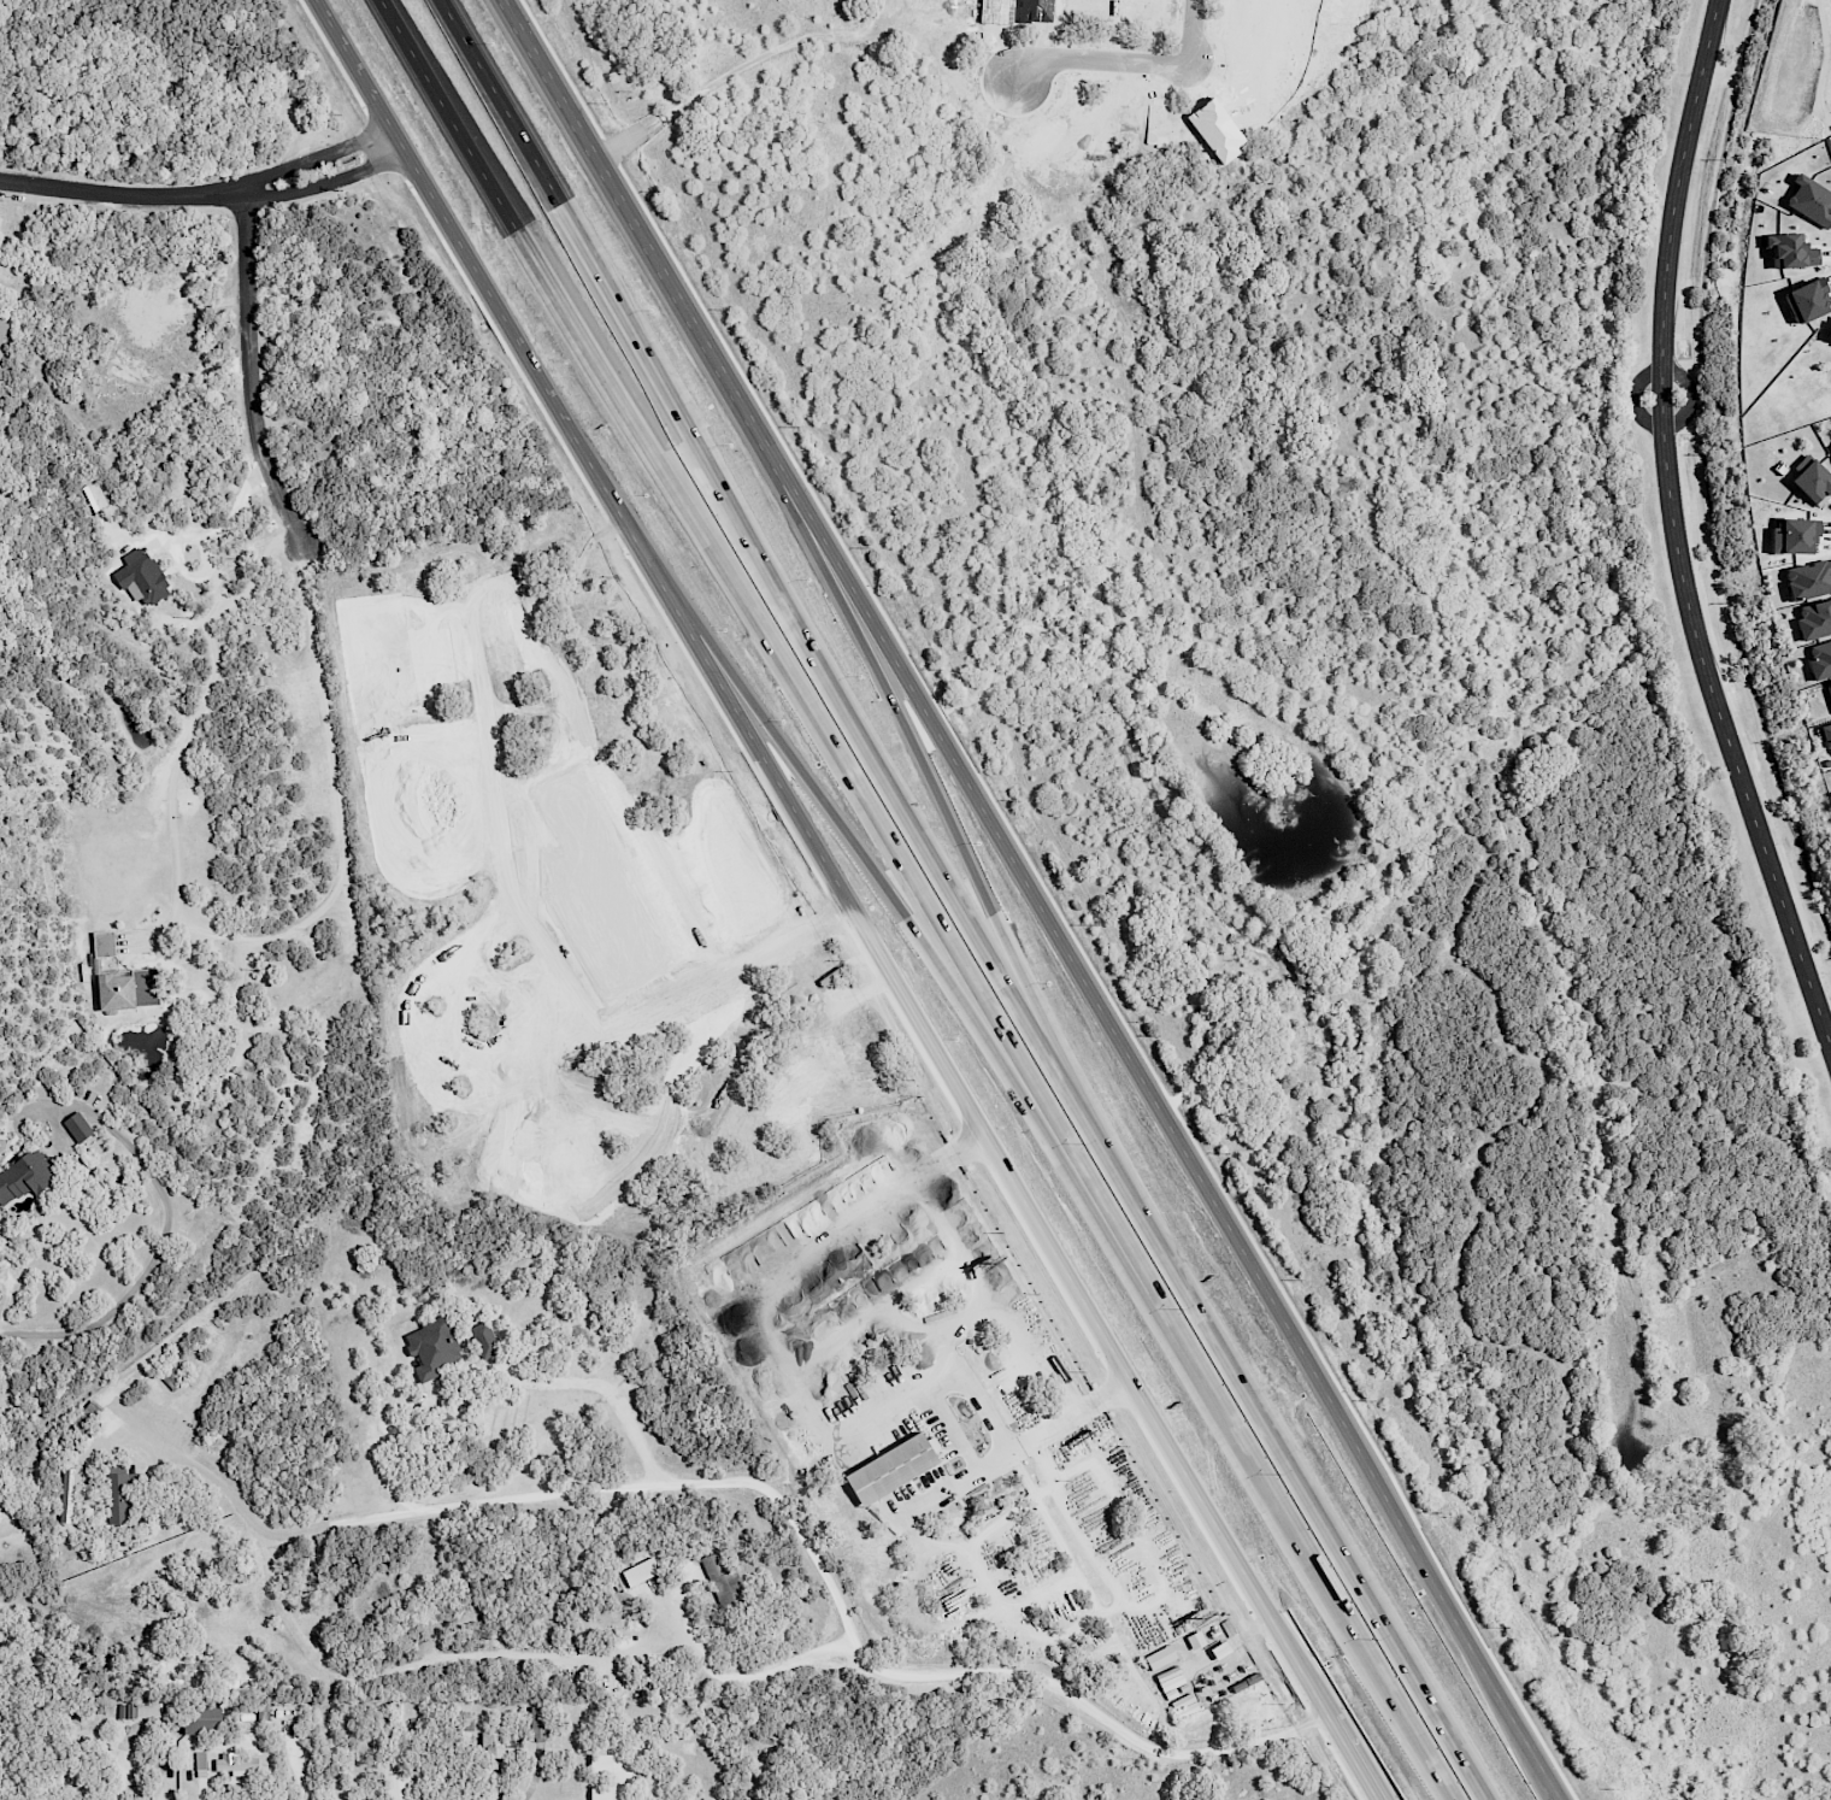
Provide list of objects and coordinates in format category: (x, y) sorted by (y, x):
road: (1130, 61)
road: (747, 67)
road: (304, 163)
road: (313, 187)
road: (107, 194)
building: (1811, 200)
road: (564, 218)
road: (522, 224)
building: (1789, 251)
building: (2, 329)
building: (0, 353)
road: (251, 369)
road: (1689, 410)
building: (1813, 482)
road: (1673, 531)
building: (1792, 535)
road: (178, 547)
road: (206, 553)
building: (1808, 580)
building: (473, 586)
road: (217, 590)
building: (1814, 619)
building: (1819, 659)
building: (1829, 689)
building: (1826, 734)
road: (897, 808)
road: (989, 817)
road: (954, 830)
road: (822, 857)
road: (867, 867)
road: (505, 875)
road: (217, 935)
building: (102, 943)
building: (128, 990)
building: (693, 1018)
building: (861, 1055)
road: (1058, 1124)
building: (77, 1127)
building: (24, 1175)
road: (163, 1223)
road: (936, 1225)
building: (878, 1286)
building: (483, 1340)
building: (432, 1347)
road: (1046, 1377)
road: (938, 1386)
road: (1103, 1399)
building: (1056, 1437)
road: (1046, 1458)
road: (989, 1465)
building: (890, 1469)
building: (1, 1481)
road: (1302, 1488)
building: (67, 1493)
building: (119, 1498)
road: (381, 1517)
building: (722, 1578)
road: (1155, 1599)
road: (861, 1659)
road: (741, 1673)
building: (1184, 1705)
building: (139, 1710)
building: (263, 1711)
building: (202, 1717)
road: (1517, 1718)
building: (537, 1722)
building: (463, 1725)
building: (498, 1747)
road: (1353, 1757)
building: (235, 1764)
road: (296, 1767)
building: (396, 1787)
building: (600, 1793)

